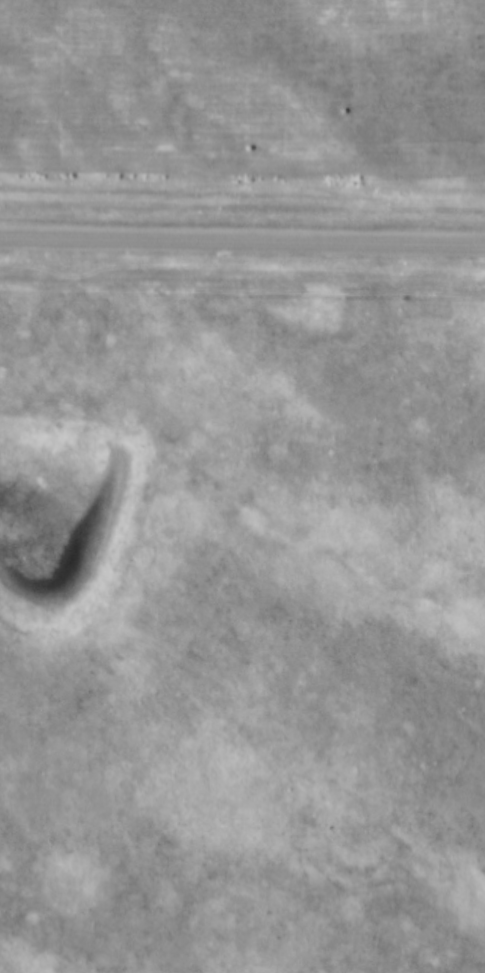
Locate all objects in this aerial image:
road: (242, 234)

